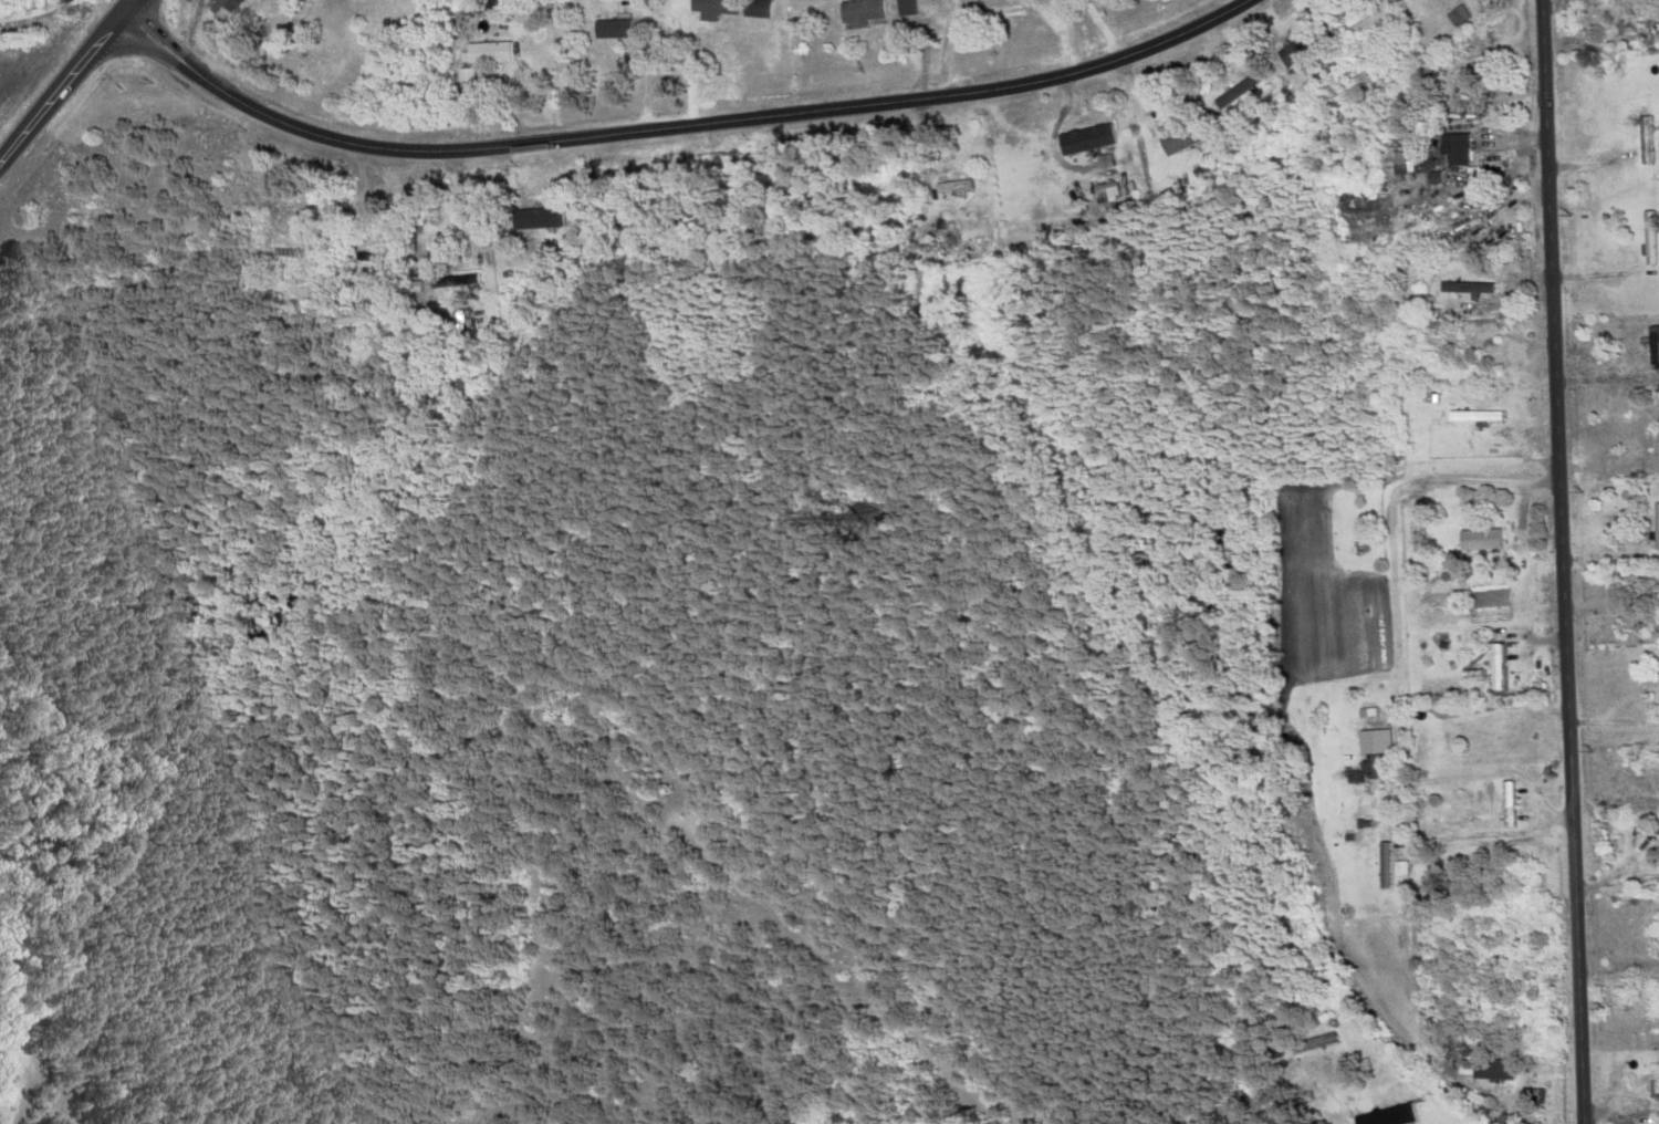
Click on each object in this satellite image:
building: (729, 8)
road: (29, 10)
building: (859, 11)
building: (1455, 15)
building: (611, 29)
building: (1297, 50)
building: (488, 52)
building: (465, 74)
road: (67, 81)
building: (1240, 91)
road: (674, 126)
building: (1182, 134)
building: (1087, 138)
building: (1645, 139)
building: (1457, 149)
building: (953, 186)
building: (529, 219)
building: (962, 226)
building: (1648, 238)
building: (291, 252)
building: (371, 258)
building: (1469, 288)
building: (1652, 347)
building: (1474, 416)
building: (1655, 446)
road: (1395, 502)
building: (1656, 525)
building: (1480, 539)
road: (1564, 561)
building: (1374, 748)
building: (1506, 804)
building: (1648, 830)
building: (1385, 865)
building: (1313, 1043)
building: (1491, 1070)
building: (1472, 1097)
building: (1389, 1116)

